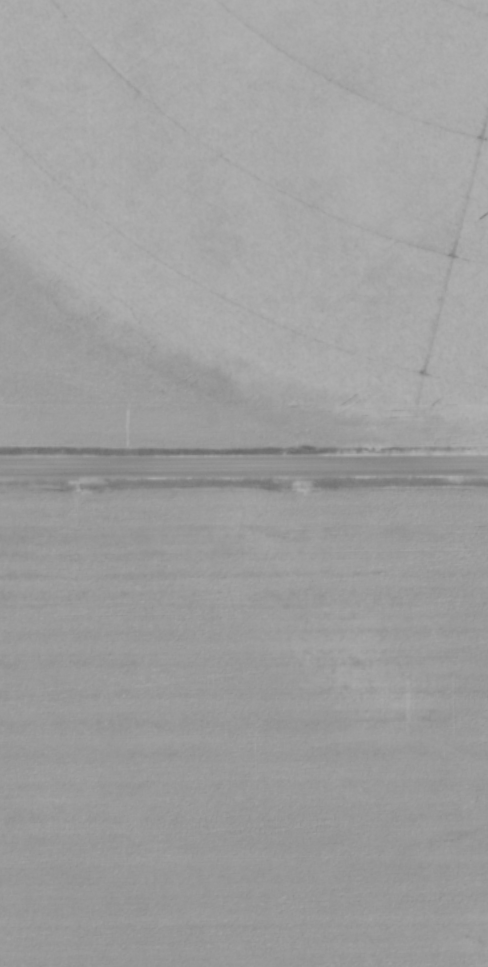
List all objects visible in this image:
crop: (243, 221)
road: (244, 464)
crop: (244, 728)

